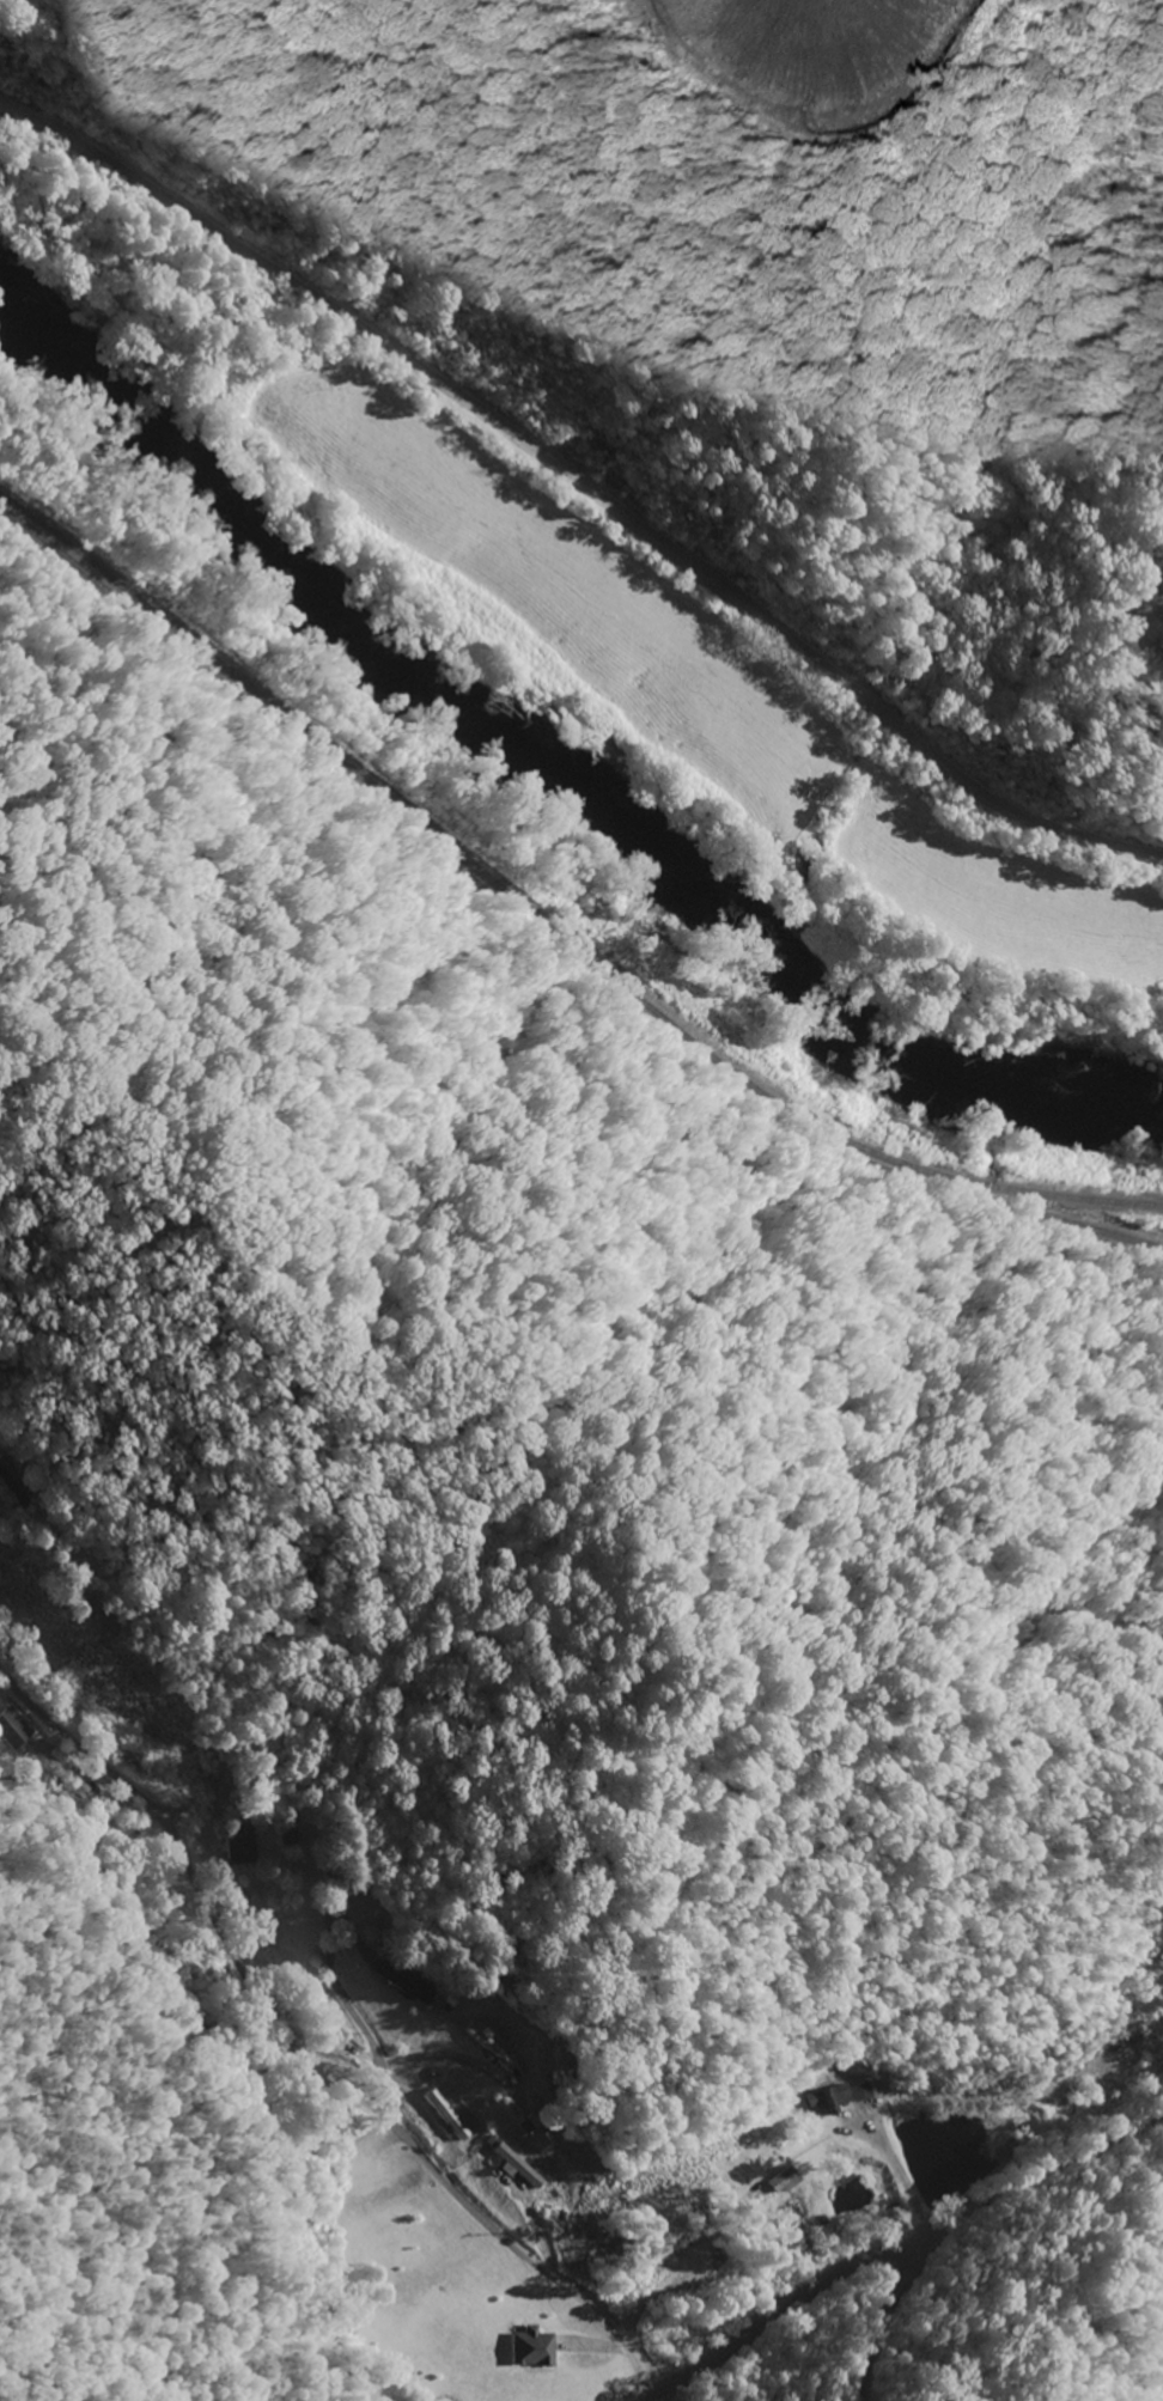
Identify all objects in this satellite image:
road: (580, 485)
road: (1124, 652)
railway: (328, 763)
river: (540, 773)
railway: (463, 857)
road: (564, 1066)
railway: (893, 1165)
railway: (1055, 1196)
building: (12, 1729)
building: (297, 1839)
building: (239, 1845)
building: (403, 1985)
road: (303, 2053)
building: (839, 2098)
building: (446, 2116)
building: (516, 2168)
road: (838, 2274)
building: (531, 2348)

